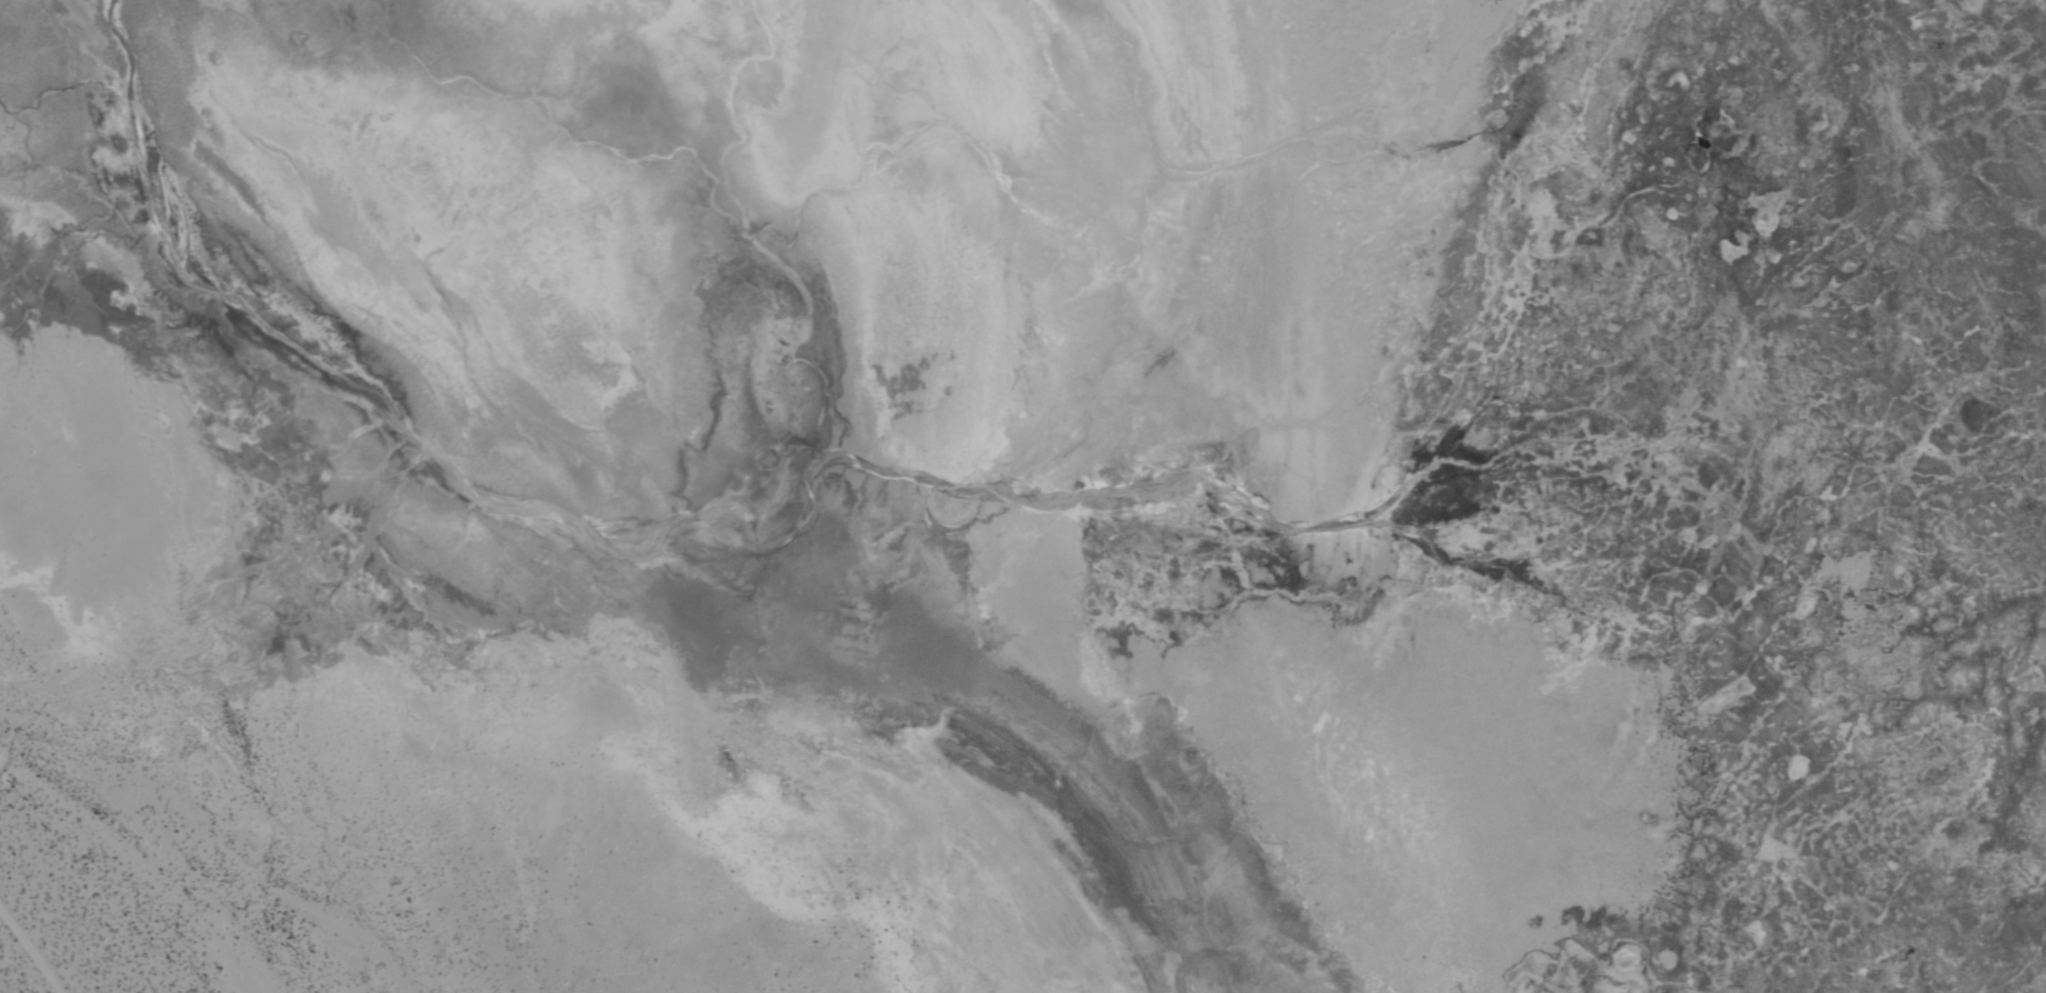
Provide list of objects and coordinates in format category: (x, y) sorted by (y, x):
road: (25, 957)

